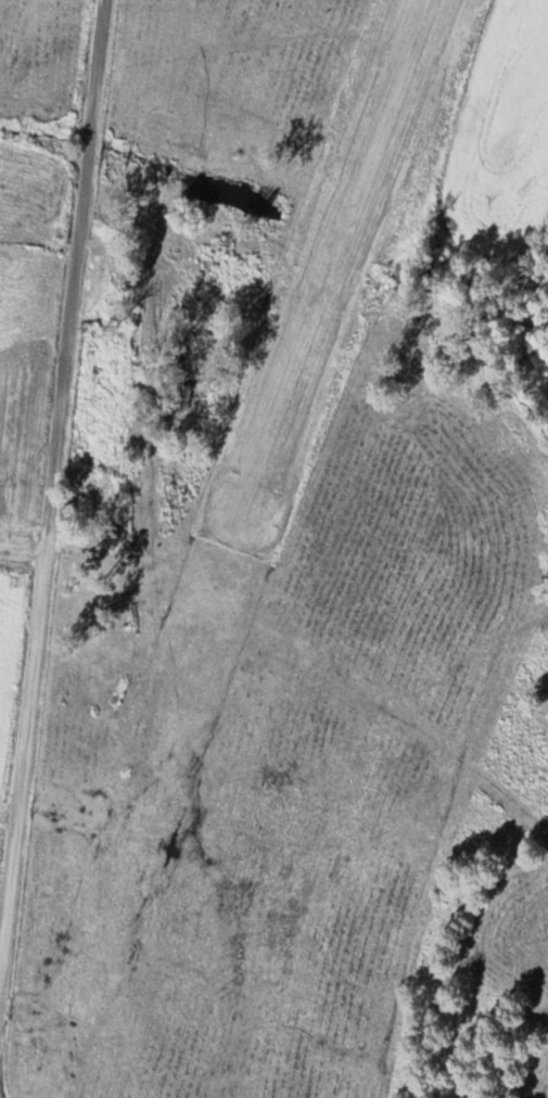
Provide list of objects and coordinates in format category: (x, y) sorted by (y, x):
airport runway: (337, 270)
airport: (331, 271)
road: (52, 465)
road: (21, 548)

